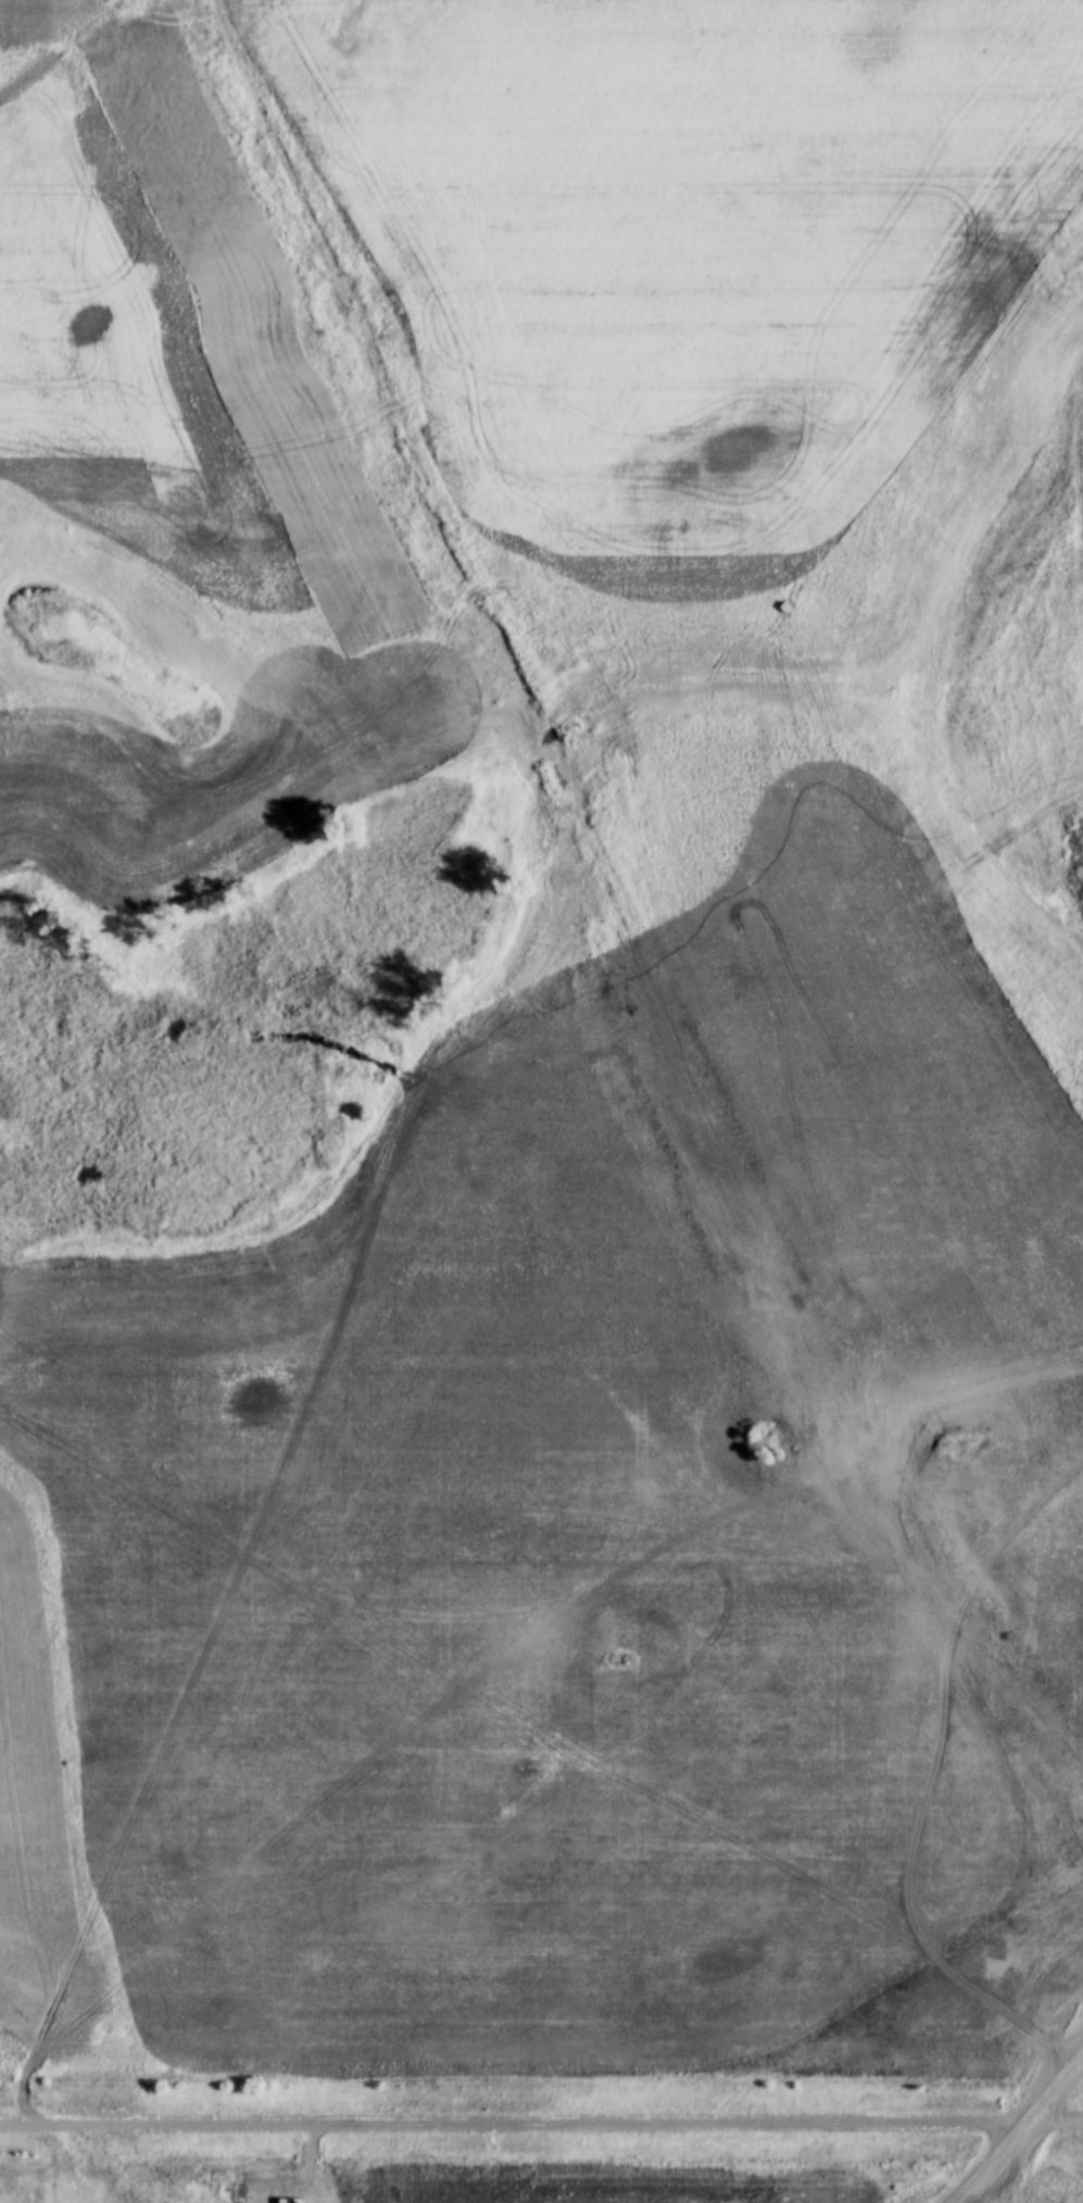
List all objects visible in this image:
road: (541, 2121)

